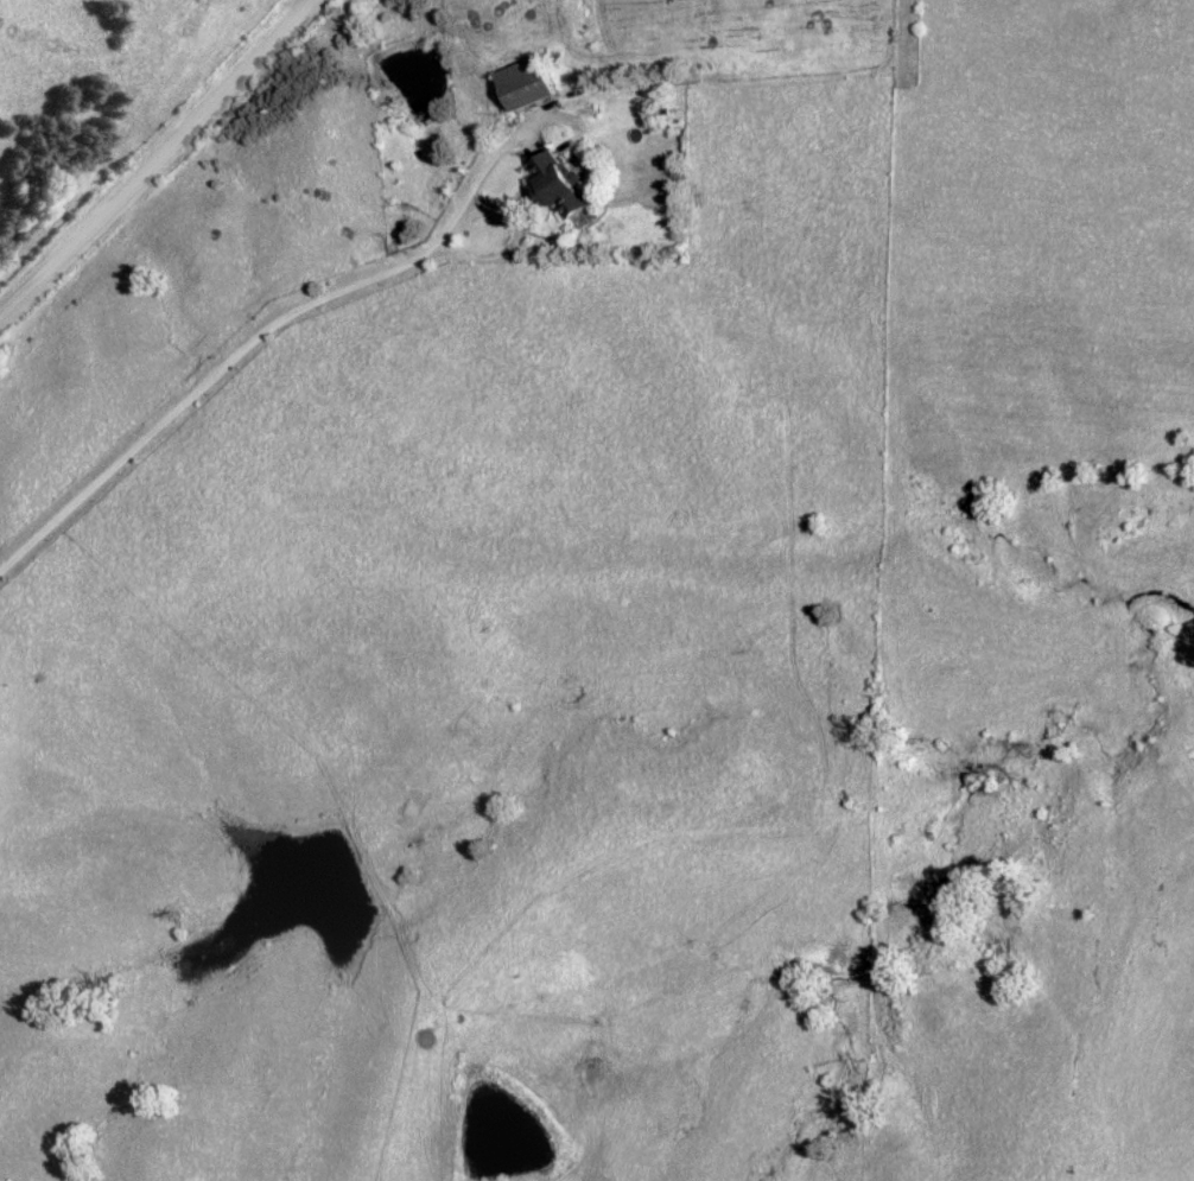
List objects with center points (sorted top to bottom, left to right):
building: (521, 84)
road: (151, 158)
building: (554, 188)
road: (262, 337)

